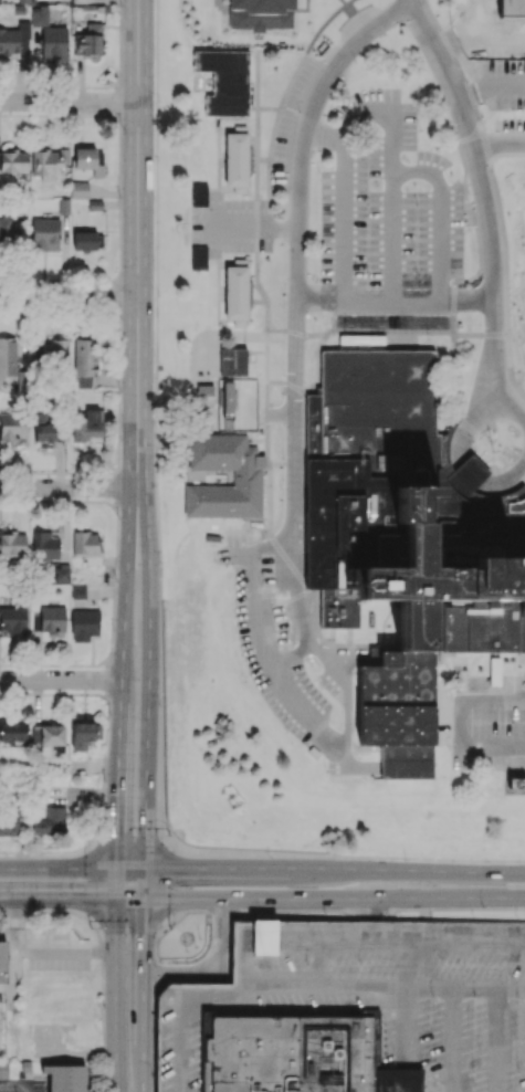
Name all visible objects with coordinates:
building: (78, 0)
street lamp: (427, 1)
street lamp: (119, 6)
street lamp: (512, 11)
road: (473, 19)
building: (50, 36)
road: (494, 38)
building: (14, 40)
building: (88, 40)
road: (448, 43)
road: (313, 50)
parking lot: (501, 55)
street lamp: (354, 62)
road: (459, 71)
road: (258, 80)
building: (224, 82)
road: (489, 86)
street lamp: (434, 88)
street lamp: (154, 99)
road: (69, 102)
road: (269, 109)
street lamp: (296, 111)
road: (507, 113)
parking lot: (295, 124)
street lamp: (419, 132)
road: (256, 134)
road: (273, 135)
road: (498, 144)
road: (344, 157)
building: (238, 158)
building: (88, 160)
road: (263, 160)
building: (13, 161)
building: (46, 165)
street lamp: (317, 171)
road: (256, 179)
road: (269, 179)
building: (78, 189)
building: (199, 193)
street lamp: (468, 193)
street lamp: (119, 197)
street lamp: (367, 203)
street lamp: (416, 203)
road: (486, 204)
building: (63, 206)
road: (157, 208)
road: (442, 217)
parking lot: (387, 223)
parking lot: (231, 224)
road: (256, 224)
road: (244, 229)
street lamp: (469, 229)
building: (9, 231)
building: (44, 234)
road: (392, 238)
building: (84, 240)
road: (137, 243)
building: (198, 258)
street lamp: (366, 271)
street lamp: (416, 272)
street lamp: (477, 277)
street lamp: (283, 286)
road: (262, 291)
building: (238, 292)
street lamp: (154, 294)
road: (69, 295)
road: (295, 303)
road: (395, 303)
road: (453, 319)
street lamp: (332, 332)
road: (297, 333)
road: (390, 336)
street lamp: (427, 339)
building: (54, 353)
building: (7, 357)
road: (266, 357)
street lamp: (472, 359)
building: (233, 360)
building: (84, 361)
road: (454, 376)
road: (315, 384)
street lamp: (119, 391)
street lamp: (280, 396)
parking lot: (225, 412)
road: (176, 417)
road: (245, 417)
road: (267, 424)
building: (12, 426)
building: (86, 427)
building: (448, 448)
flagpole: (492, 450)
street lamp: (157, 452)
building: (367, 453)
road: (460, 455)
road: (282, 464)
building: (248, 480)
building: (461, 480)
road: (67, 486)
street lamp: (280, 490)
road: (271, 497)
building: (493, 501)
street lamp: (116, 517)
road: (250, 531)
street lamp: (262, 536)
building: (12, 544)
building: (44, 545)
road: (272, 545)
building: (86, 546)
road: (239, 554)
road: (287, 559)
street lamp: (159, 561)
street lamp: (231, 567)
road: (277, 567)
building: (61, 573)
road: (125, 582)
street lamp: (264, 585)
road: (287, 589)
building: (76, 590)
road: (256, 609)
street lamp: (316, 613)
building: (432, 613)
building: (52, 618)
building: (12, 619)
building: (84, 623)
road: (161, 624)
street lamp: (112, 628)
street lamp: (345, 639)
street lamp: (294, 640)
parking lot: (276, 643)
road: (316, 650)
street lamp: (240, 655)
road: (293, 655)
road: (334, 657)
road: (357, 658)
street lamp: (519, 668)
road: (334, 671)
road: (346, 671)
building: (494, 671)
road: (147, 676)
road: (61, 680)
street lamp: (321, 689)
road: (468, 700)
street lamp: (160, 705)
road: (304, 713)
road: (347, 715)
street lamp: (511, 720)
parking lot: (489, 722)
building: (13, 731)
street lamp: (284, 731)
building: (84, 734)
building: (52, 736)
road: (492, 748)
street lamp: (324, 765)
road: (354, 769)
road: (116, 773)
street lamp: (104, 779)
building: (50, 821)
building: (8, 823)
traffic signals: (116, 832)
street lamp: (170, 833)
street lamp: (86, 838)
road: (343, 855)
street lamp: (267, 857)
street lamp: (405, 861)
road: (57, 868)
road: (129, 868)
traffic signals: (175, 868)
road: (233, 868)
road: (423, 870)
road: (115, 882)
road: (144, 882)
road: (57, 896)
traffic signals: (82, 896)
road: (129, 896)
road: (334, 897)
street lamp: (482, 905)
road: (369, 909)
street lamp: (34, 912)
street lamp: (326, 912)
street lamp: (168, 925)
street lamp: (88, 927)
traffic signals: (144, 932)
flagpole: (199, 937)
road: (246, 942)
road: (264, 942)
road: (303, 942)
road: (426, 943)
flagpole: (195, 946)
flagpole: (186, 949)
building: (2, 959)
road: (240, 962)
road: (319, 963)
road: (420, 964)
road: (216, 968)
road: (144, 983)
road: (275, 983)
road: (365, 984)
road: (472, 985)
road: (115, 994)
street lamp: (102, 1006)
road: (181, 1010)
building: (354, 1010)
parking lot: (354, 1010)
road: (405, 1038)
road: (452, 1038)
road: (496, 1039)
building: (25, 1065)
building: (4, 1068)
building: (65, 1077)
road: (144, 1080)
road: (13, 1088)
road: (27, 1090)

